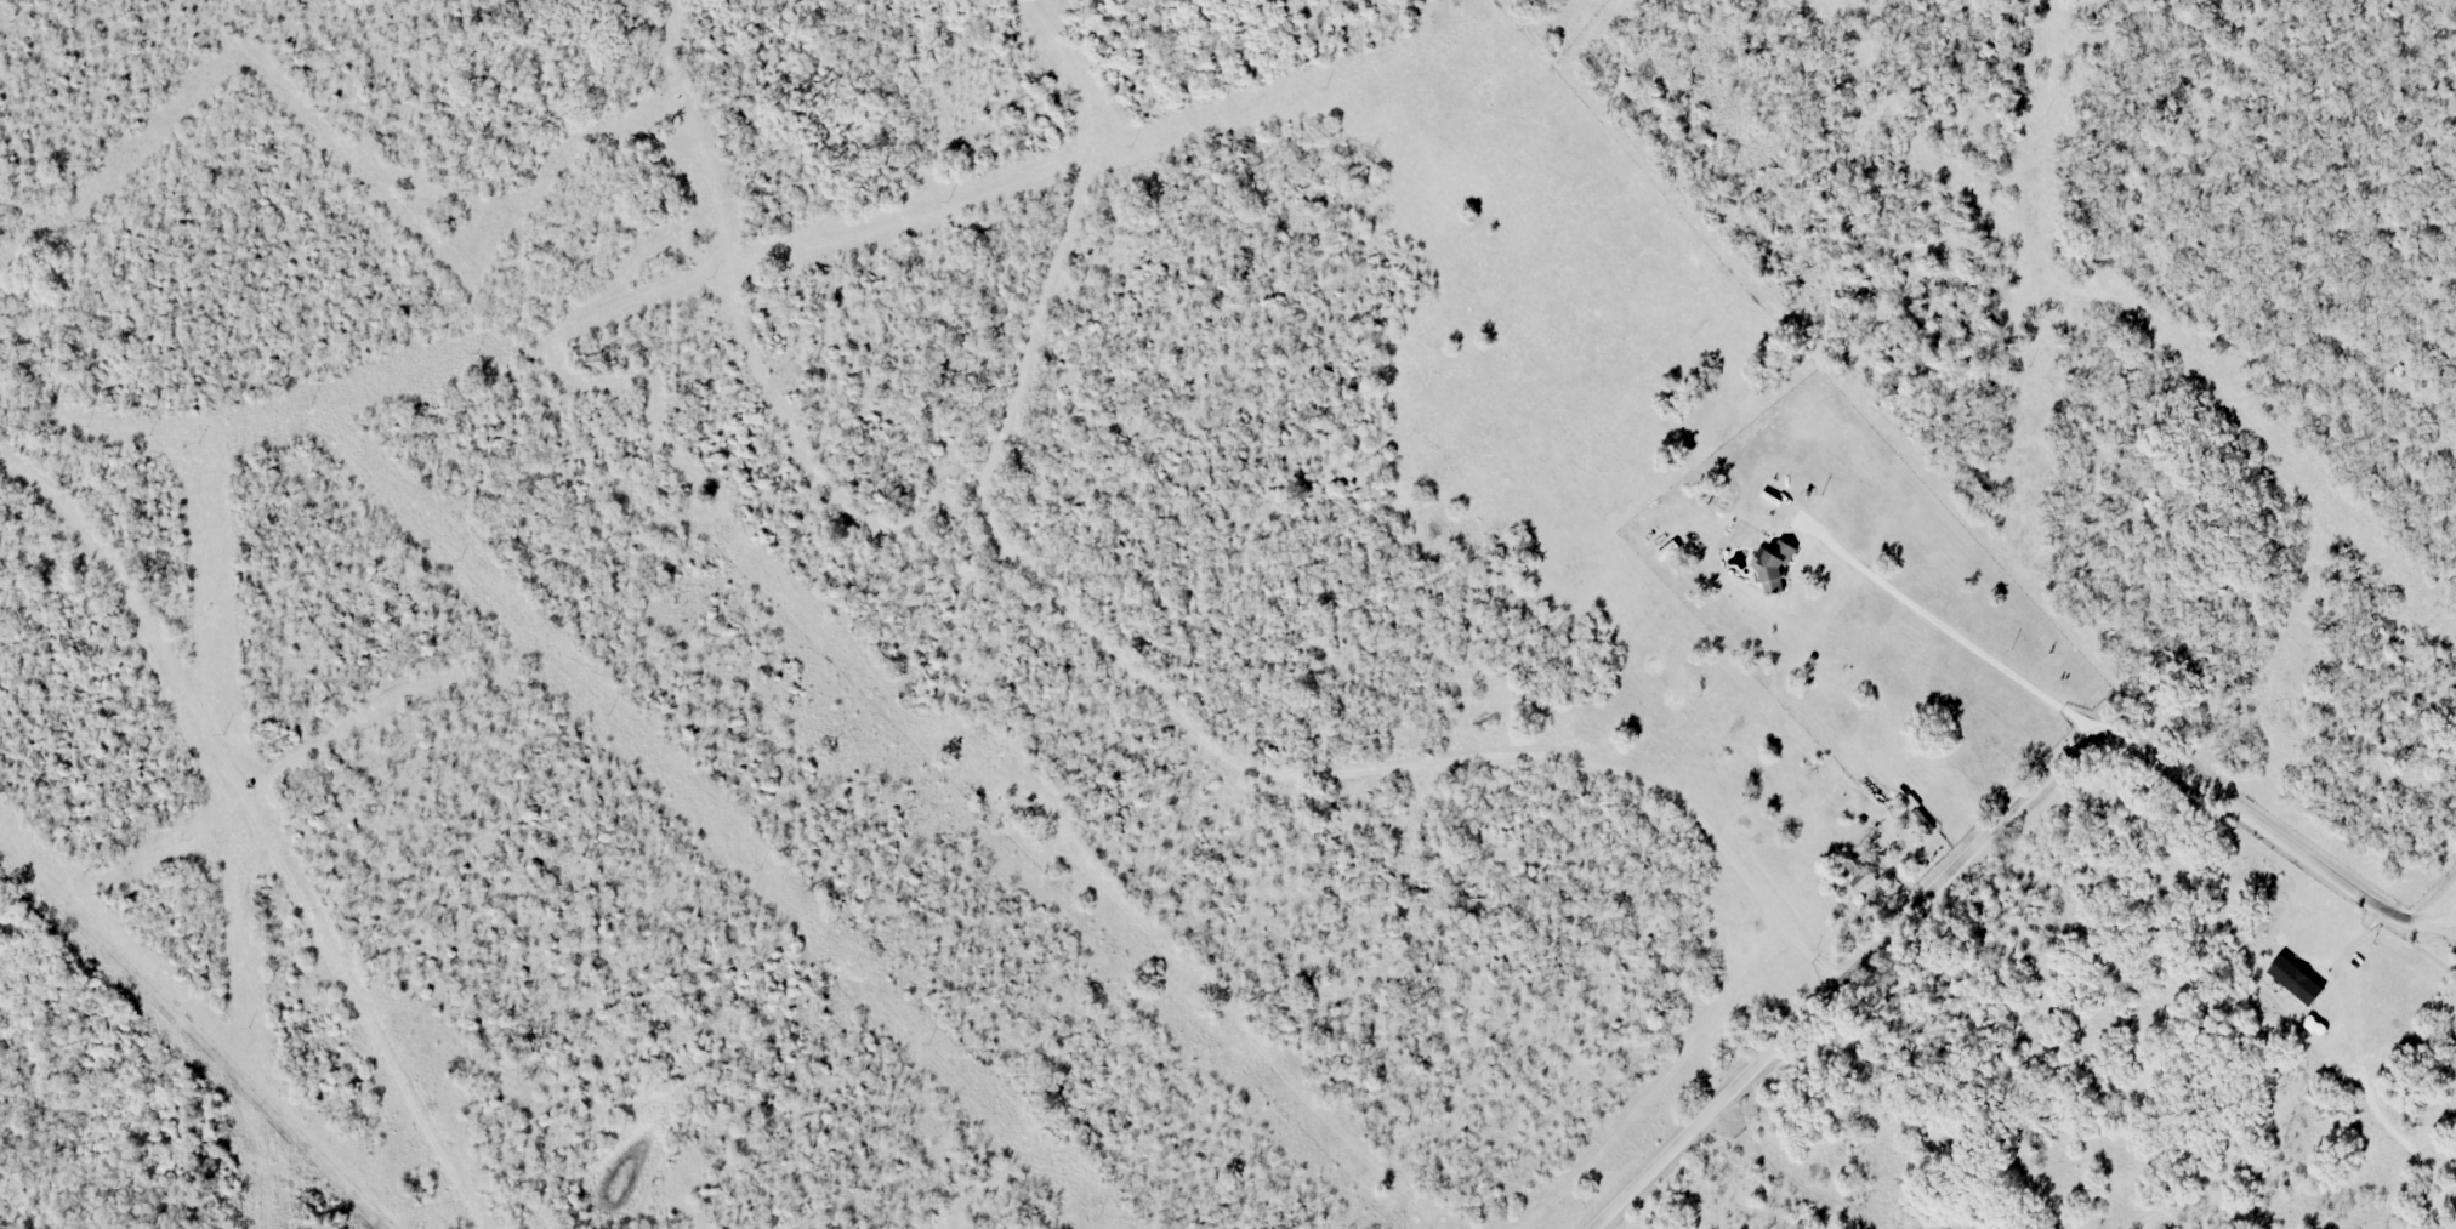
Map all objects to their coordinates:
building: (27, 362)
building: (1773, 564)
road: (1156, 698)
road: (261, 826)
road: (1989, 832)
building: (1859, 876)

